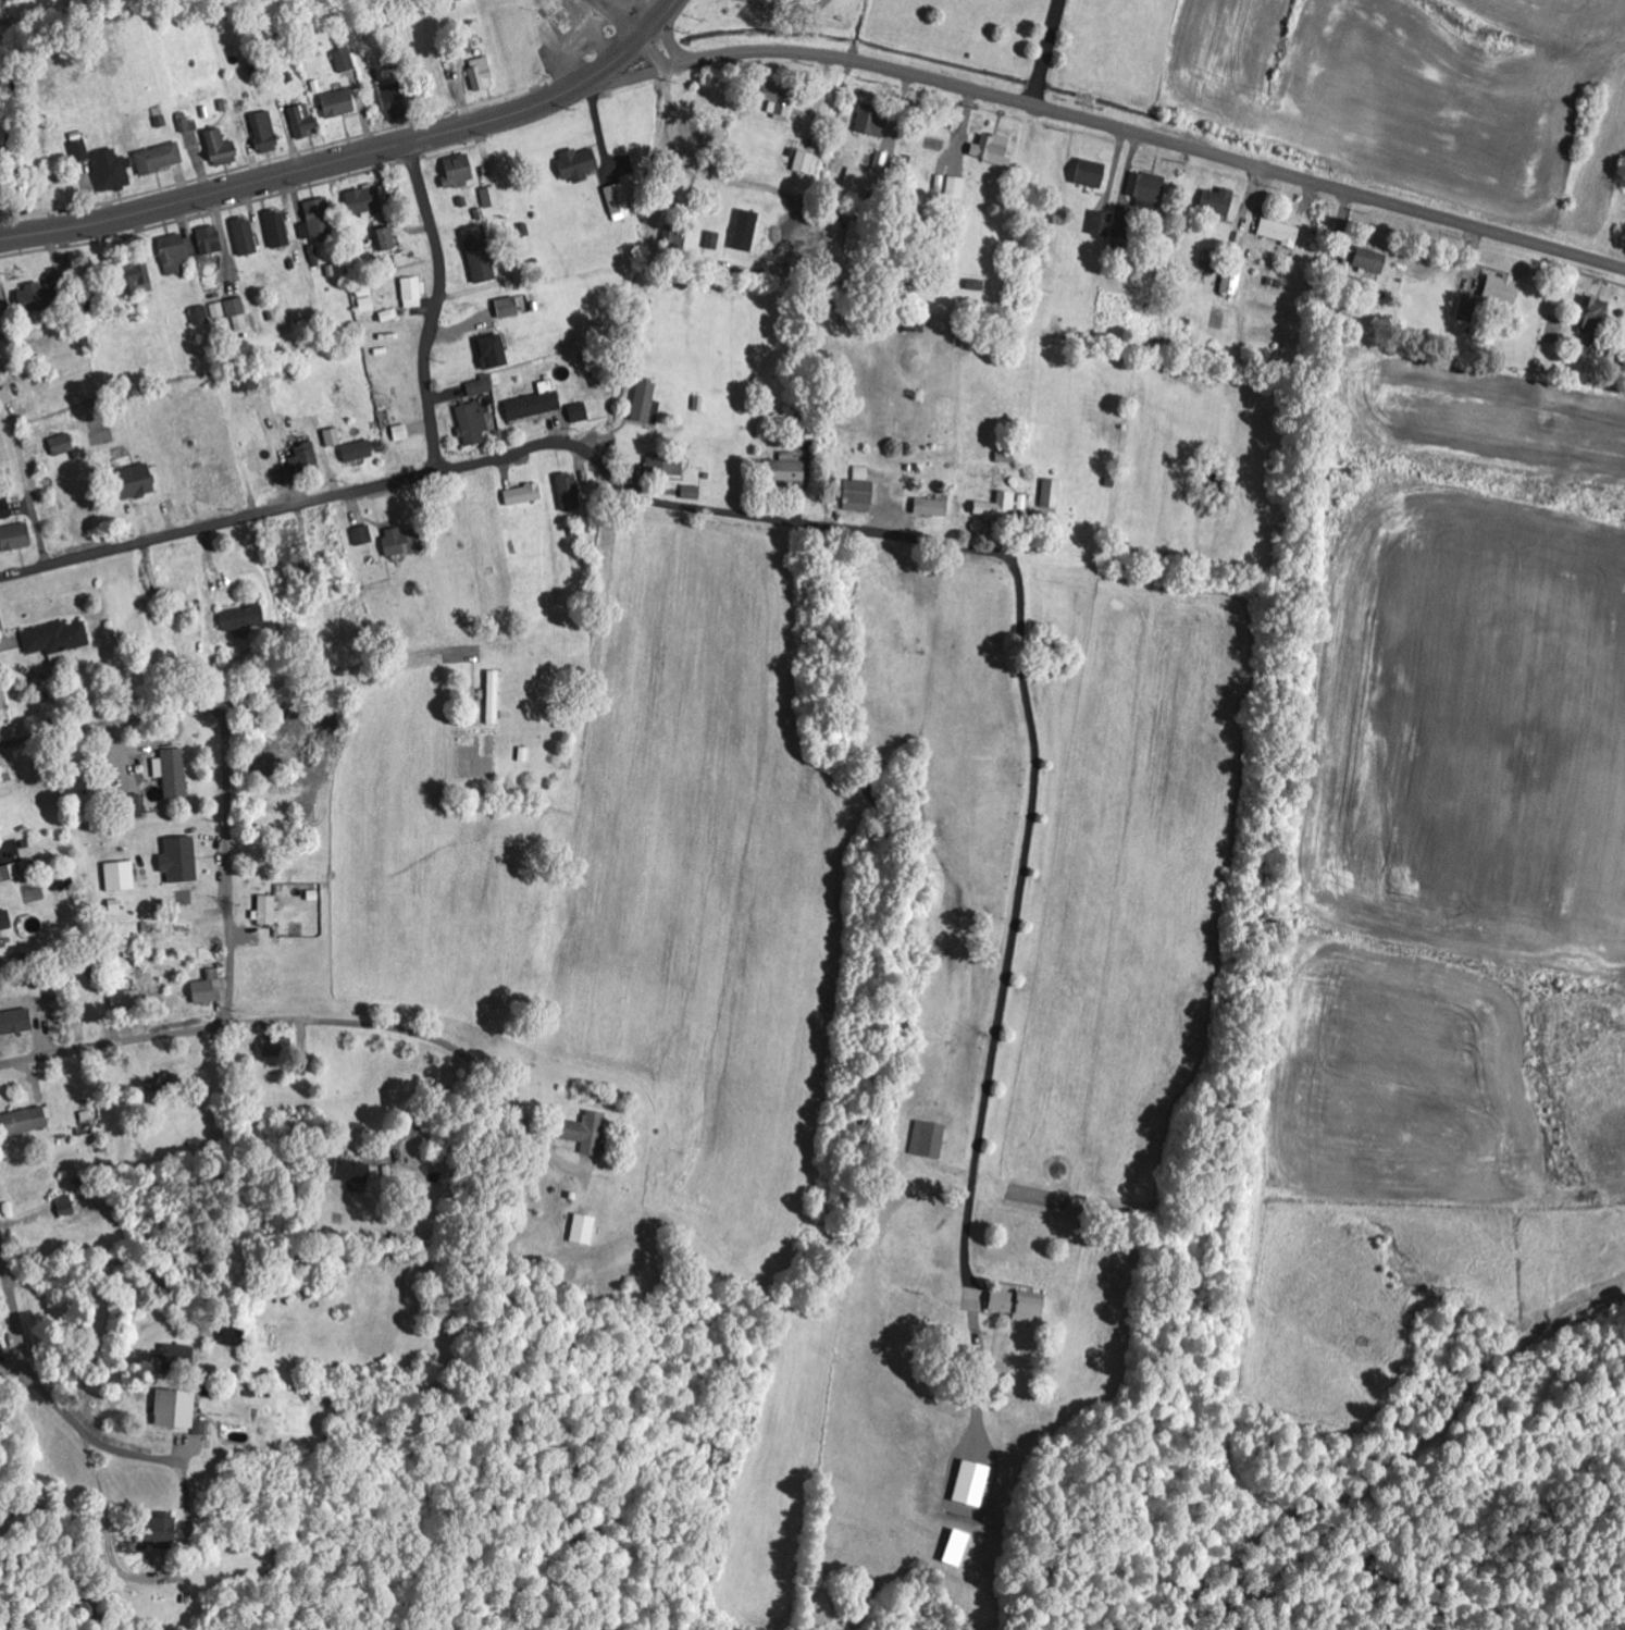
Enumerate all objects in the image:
building: (801, 0)
road: (613, 20)
road: (658, 20)
road: (1052, 53)
building: (345, 62)
building: (482, 75)
building: (395, 100)
building: (781, 101)
building: (339, 104)
building: (303, 122)
building: (872, 123)
building: (189, 126)
road: (1129, 133)
building: (265, 134)
building: (222, 150)
building: (993, 150)
building: (80, 152)
building: (160, 160)
building: (805, 163)
road: (328, 164)
building: (579, 165)
building: (113, 172)
building: (459, 173)
building: (1092, 175)
building: (856, 182)
building: (957, 188)
building: (1148, 189)
building: (364, 201)
building: (621, 202)
building: (1219, 203)
building: (317, 220)
building: (1112, 226)
building: (278, 231)
building: (746, 232)
building: (675, 237)
building: (1282, 237)
building: (246, 238)
building: (858, 238)
building: (714, 240)
building: (210, 242)
building: (385, 242)
building: (177, 255)
building: (481, 256)
building: (1375, 268)
building: (135, 277)
building: (1232, 283)
building: (1504, 291)
building: (413, 293)
building: (44, 297)
building: (365, 297)
road: (436, 308)
building: (509, 309)
building: (219, 311)
building: (1469, 311)
building: (238, 314)
building: (201, 317)
building: (2, 322)
building: (1593, 324)
building: (493, 353)
building: (248, 384)
building: (482, 386)
building: (5, 398)
building: (645, 402)
building: (536, 403)
building: (580, 412)
building: (473, 423)
building: (333, 437)
building: (63, 444)
building: (358, 452)
road: (509, 456)
building: (669, 465)
building: (790, 469)
building: (863, 473)
building: (136, 481)
building: (569, 492)
building: (1052, 493)
building: (524, 495)
road: (29, 496)
building: (860, 496)
building: (997, 507)
building: (363, 535)
building: (16, 538)
building: (402, 542)
building: (291, 543)
building: (244, 618)
building: (55, 638)
building: (494, 697)
road: (226, 760)
building: (173, 773)
road: (394, 775)
building: (135, 806)
building: (181, 860)
building: (121, 877)
building: (266, 911)
building: (5, 921)
building: (208, 989)
building: (127, 999)
road: (377, 1028)
road: (112, 1046)
building: (277, 1047)
building: (26, 1121)
building: (586, 1133)
building: (929, 1139)
building: (353, 1171)
building: (67, 1206)
building: (584, 1230)
building: (1019, 1305)
road: (17, 1329)
building: (234, 1337)
building: (178, 1358)
building: (178, 1412)
road: (85, 1436)
road: (45, 1440)
building: (972, 1484)
building: (160, 1533)
building: (958, 1548)

